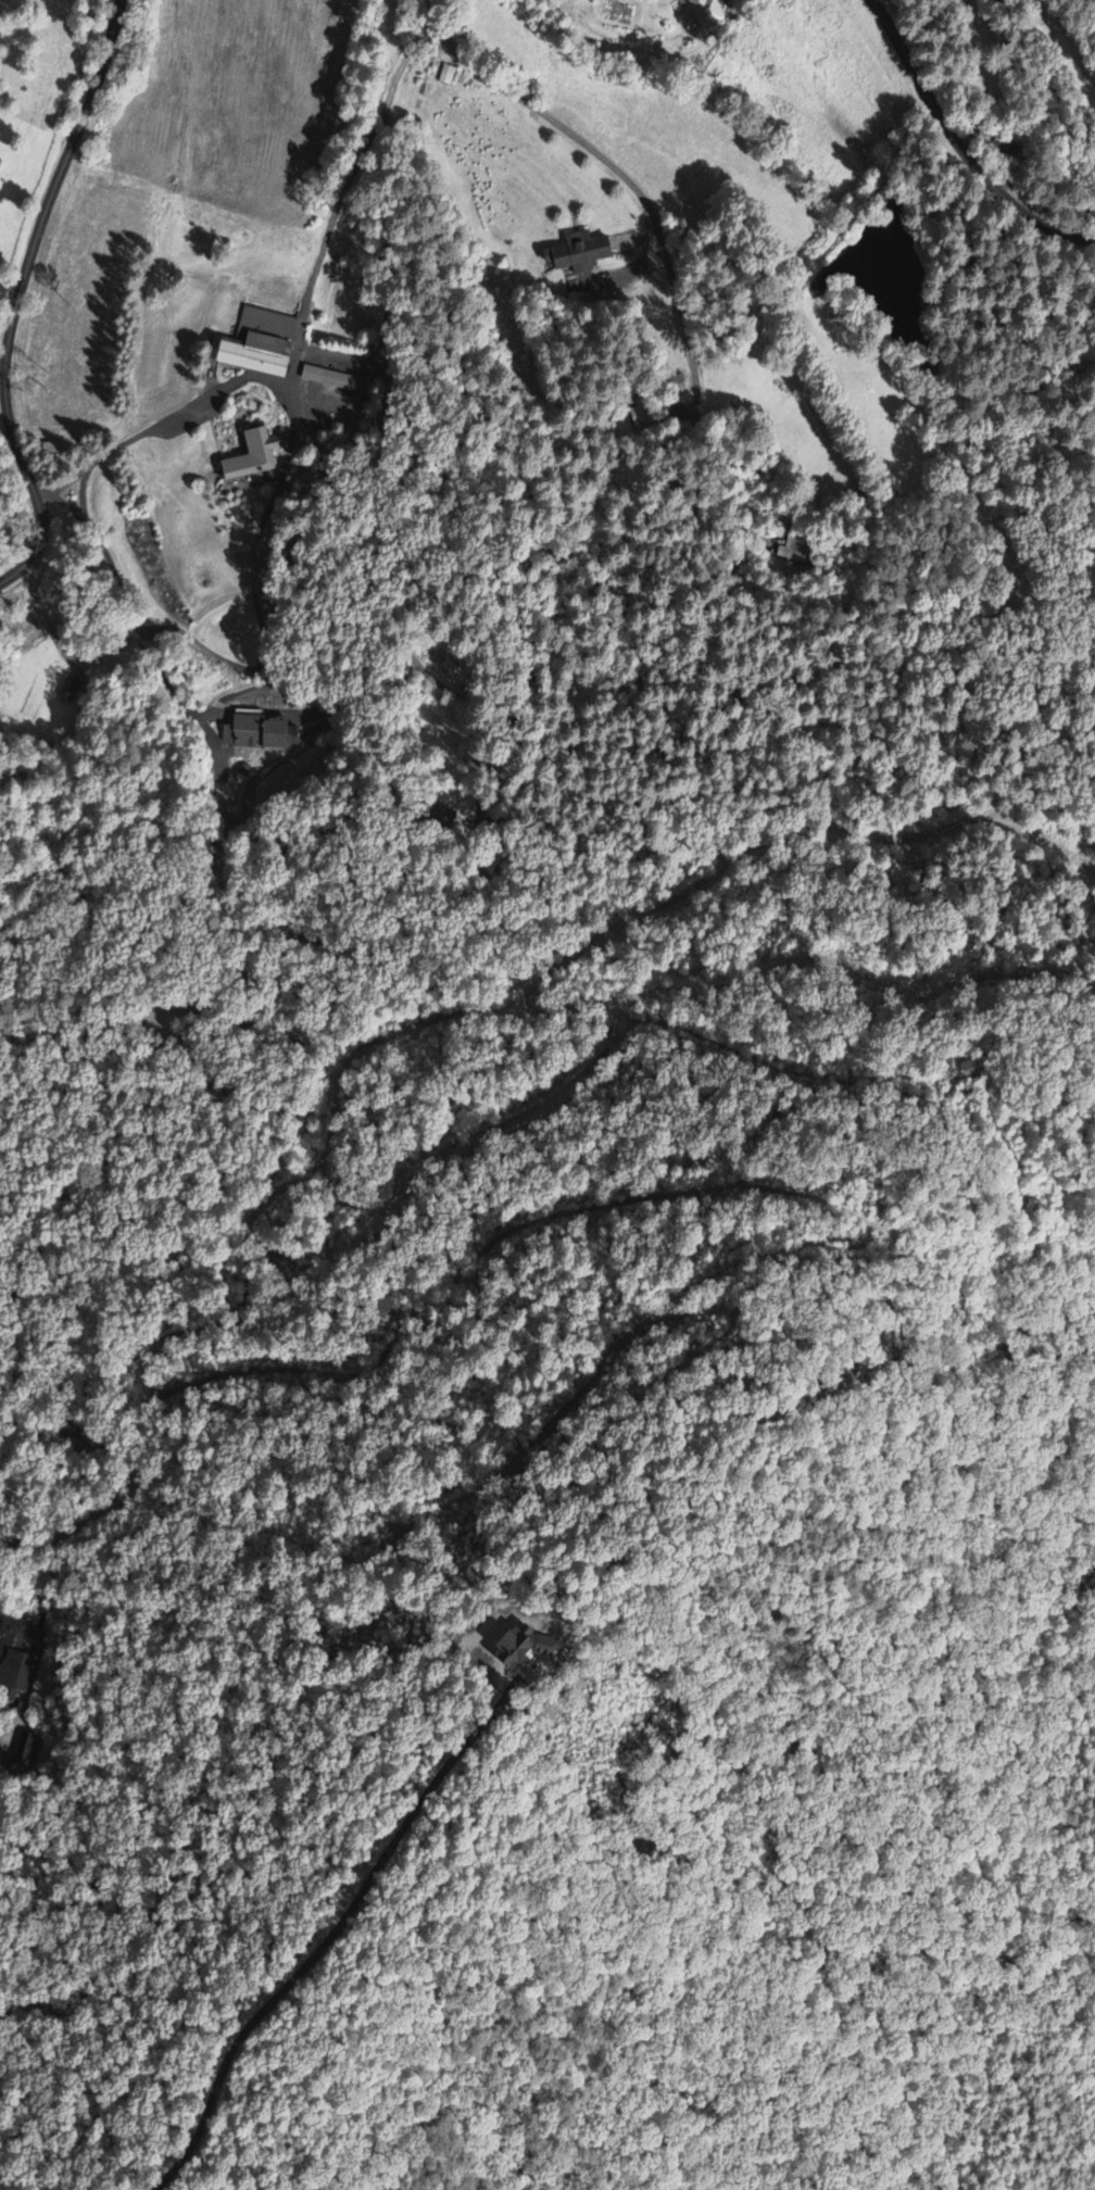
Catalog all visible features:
building: (704, 13)
building: (446, 75)
road: (545, 113)
road: (962, 140)
road: (20, 293)
building: (250, 354)
building: (331, 379)
building: (251, 456)
building: (244, 732)
building: (214, 740)
building: (514, 1645)
building: (14, 1662)

